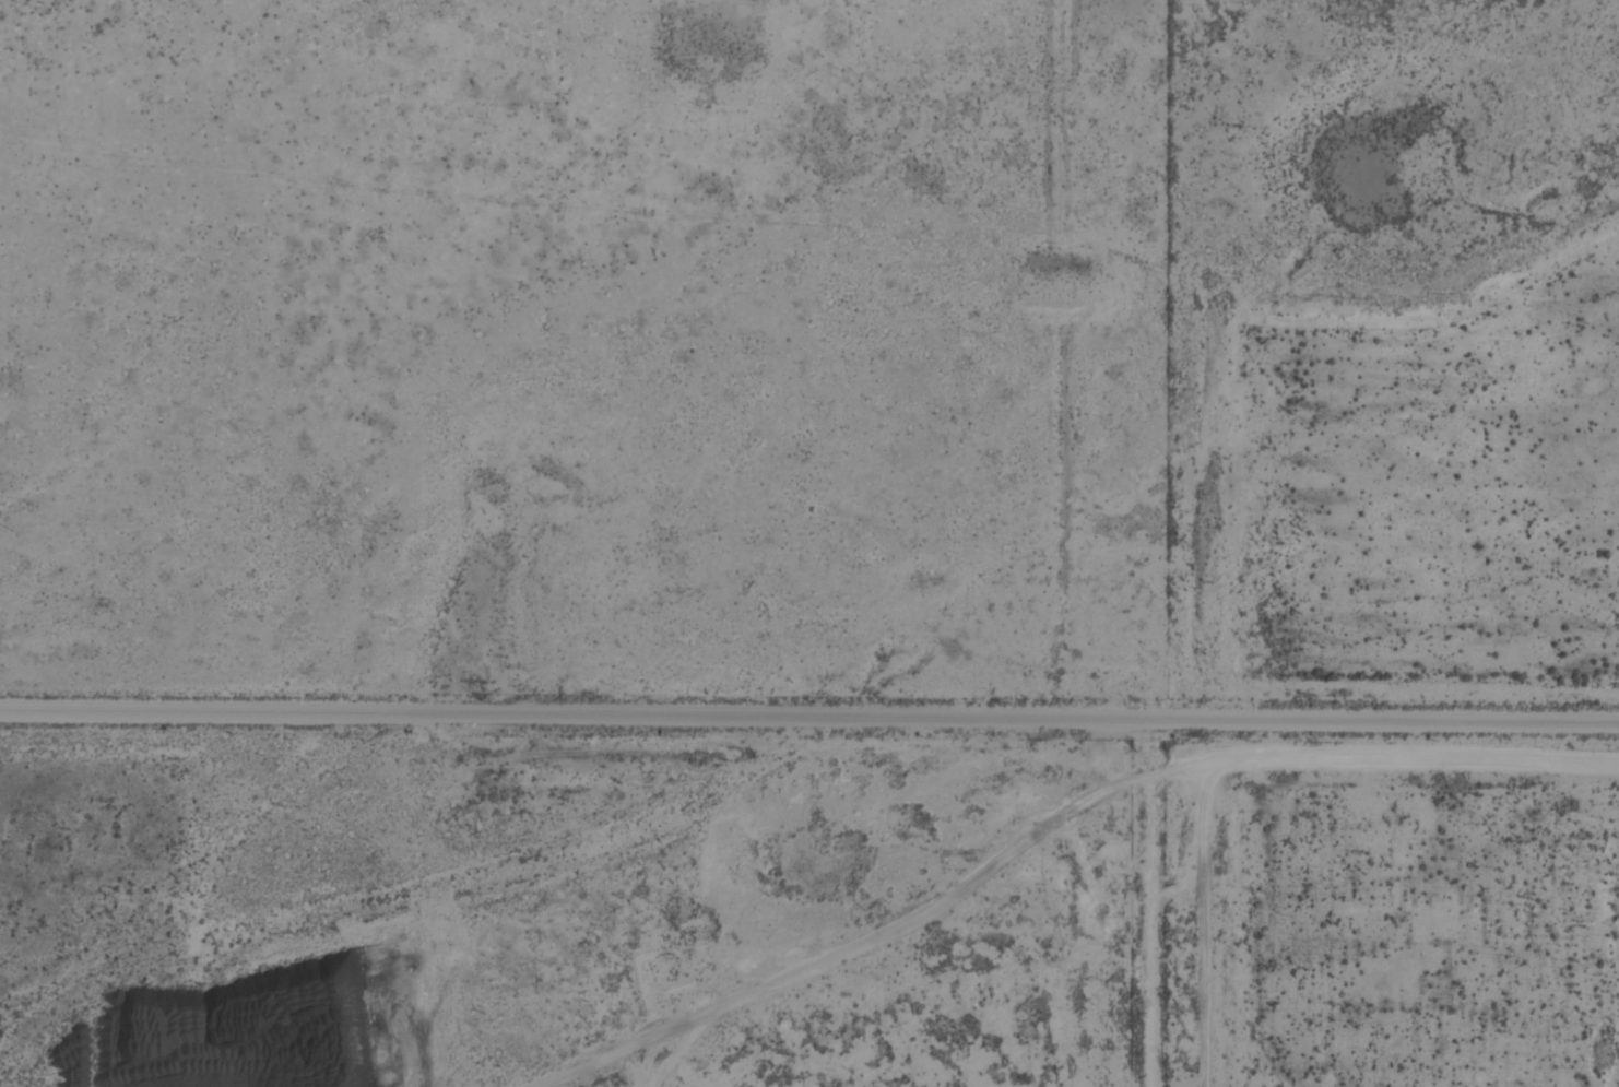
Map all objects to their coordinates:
road: (809, 708)

